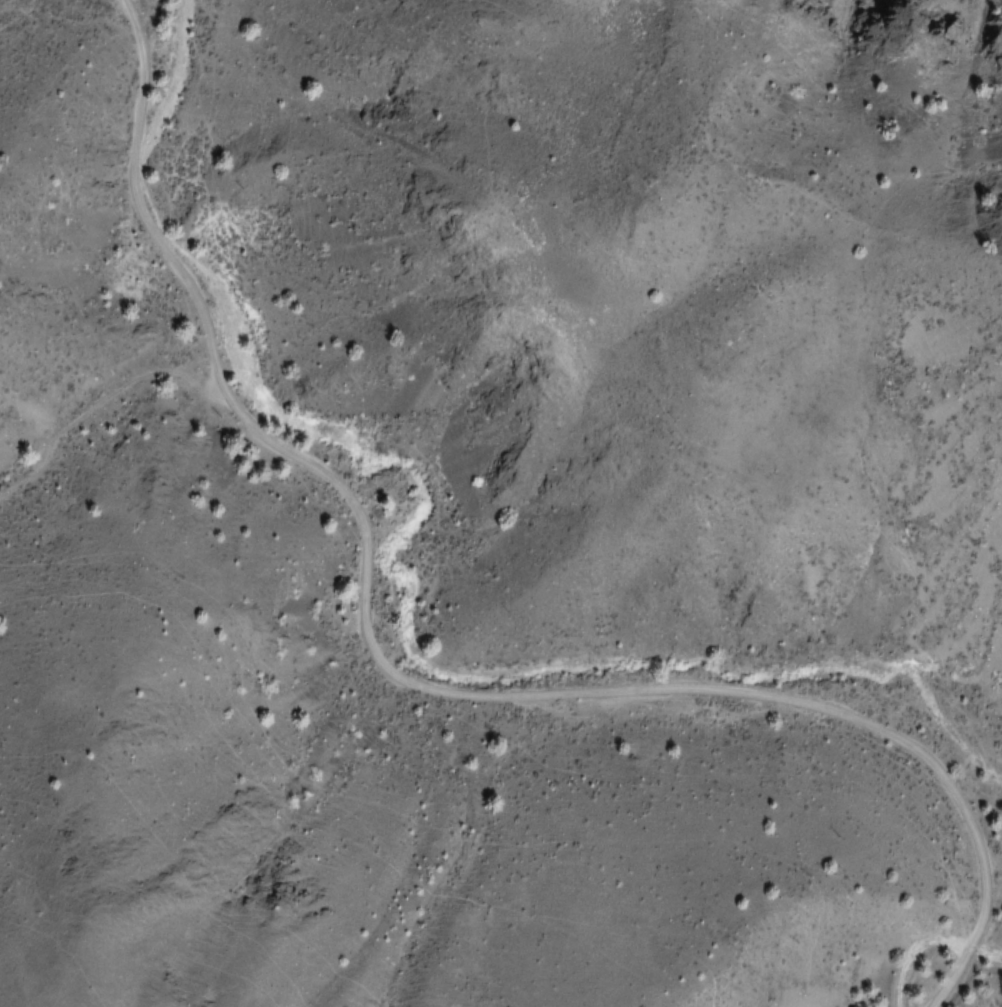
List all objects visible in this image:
road: (424, 683)

